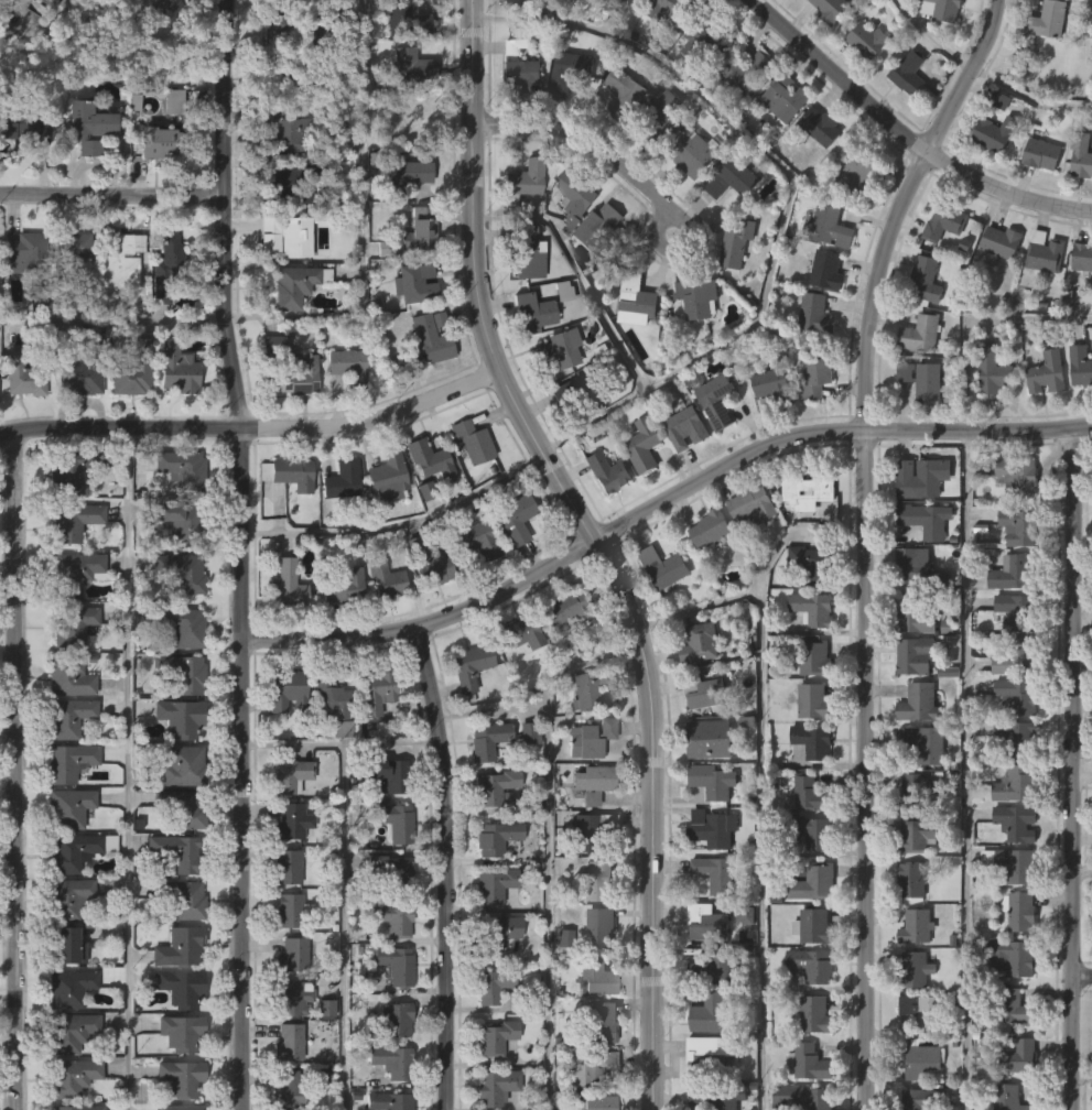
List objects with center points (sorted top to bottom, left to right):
building: (753, 0)
building: (91, 1)
building: (66, 4)
building: (166, 8)
building: (667, 10)
building: (830, 10)
building: (941, 10)
building: (268, 15)
building: (788, 15)
building: (521, 18)
building: (403, 20)
building: (1047, 20)
building: (298, 23)
building: (573, 28)
building: (624, 28)
building: (66, 31)
building: (161, 39)
building: (867, 40)
road: (928, 41)
building: (707, 42)
building: (933, 47)
building: (661, 50)
building: (824, 50)
building: (1090, 51)
building: (408, 66)
building: (1044, 66)
building: (567, 69)
building: (745, 70)
building: (519, 72)
building: (908, 72)
building: (274, 75)
building: (295, 75)
building: (863, 87)
building: (698, 89)
building: (509, 92)
building: (621, 92)
building: (782, 96)
road: (1027, 99)
building: (175, 101)
building: (403, 109)
building: (564, 117)
building: (663, 118)
building: (905, 119)
building: (517, 120)
building: (21, 121)
building: (85, 123)
building: (818, 124)
building: (284, 127)
building: (993, 132)
road: (902, 138)
building: (619, 141)
building: (162, 142)
road: (583, 144)
building: (778, 146)
building: (695, 150)
building: (1041, 153)
building: (1080, 153)
building: (663, 160)
building: (23, 172)
building: (85, 173)
building: (732, 174)
building: (400, 175)
building: (529, 175)
building: (854, 175)
building: (988, 179)
building: (294, 183)
building: (155, 189)
road: (794, 194)
road: (112, 196)
building: (573, 196)
building: (1037, 200)
building: (691, 203)
building: (1078, 204)
building: (851, 219)
building: (401, 220)
road: (363, 221)
building: (521, 225)
building: (727, 226)
building: (949, 226)
building: (831, 227)
building: (418, 229)
building: (605, 232)
building: (284, 233)
building: (999, 242)
building: (570, 243)
building: (735, 243)
building: (22, 250)
building: (66, 252)
building: (523, 252)
road: (681, 252)
building: (1044, 253)
building: (1081, 255)
building: (119, 260)
building: (164, 262)
building: (939, 269)
building: (826, 270)
road: (576, 271)
building: (595, 271)
building: (925, 279)
building: (413, 282)
building: (295, 284)
building: (996, 287)
building: (73, 291)
building: (732, 291)
building: (39, 295)
building: (696, 296)
building: (635, 300)
building: (1041, 302)
building: (165, 303)
building: (1080, 304)
building: (118, 307)
building: (531, 311)
building: (814, 313)
road: (1081, 316)
road: (111, 318)
building: (411, 329)
building: (289, 331)
building: (920, 331)
building: (430, 336)
building: (693, 344)
building: (558, 348)
building: (633, 348)
building: (529, 357)
building: (1080, 364)
building: (346, 366)
building: (175, 367)
building: (288, 368)
building: (79, 370)
building: (22, 371)
building: (131, 371)
building: (993, 371)
building: (1047, 372)
building: (815, 376)
building: (922, 379)
building: (428, 383)
building: (771, 389)
building: (268, 390)
building: (576, 393)
building: (552, 396)
building: (713, 399)
building: (344, 412)
building: (1078, 413)
building: (129, 416)
building: (173, 416)
building: (988, 417)
building: (20, 420)
building: (1042, 420)
building: (292, 422)
building: (811, 422)
building: (684, 423)
building: (75, 425)
building: (918, 425)
road: (252, 432)
building: (769, 432)
building: (580, 438)
building: (471, 442)
building: (642, 445)
building: (712, 447)
building: (429, 458)
building: (73, 466)
building: (180, 468)
building: (605, 471)
building: (290, 472)
building: (681, 475)
building: (386, 476)
building: (1017, 476)
building: (920, 477)
building: (339, 479)
building: (468, 487)
building: (807, 489)
building: (639, 491)
building: (425, 504)
road: (658, 505)
building: (752, 509)
building: (517, 514)
building: (603, 519)
building: (925, 519)
building: (72, 520)
building: (288, 520)
building: (175, 521)
building: (383, 522)
road: (396, 522)
building: (337, 525)
building: (1018, 526)
building: (710, 527)
building: (803, 536)
building: (478, 538)
road: (863, 541)
road: (590, 546)
building: (747, 553)
road: (239, 554)
building: (428, 563)
building: (810, 563)
building: (511, 564)
building: (916, 564)
building: (662, 567)
building: (73, 572)
building: (181, 572)
building: (1013, 574)
building: (705, 575)
building: (383, 579)
building: (285, 586)
building: (474, 586)
building: (342, 587)
road: (692, 607)
building: (812, 608)
building: (565, 609)
building: (429, 611)
building: (1016, 611)
building: (659, 613)
building: (913, 616)
building: (72, 623)
building: (173, 625)
building: (382, 625)
building: (282, 631)
building: (339, 633)
building: (517, 635)
building: (698, 643)
building: (561, 653)
building: (913, 655)
building: (813, 657)
building: (1014, 657)
building: (468, 668)
building: (177, 672)
building: (66, 676)
building: (518, 679)
building: (284, 690)
building: (376, 690)
building: (590, 692)
building: (703, 692)
building: (1017, 696)
building: (328, 697)
building: (812, 701)
building: (918, 703)
road: (488, 707)
building: (1008, 707)
building: (466, 711)
building: (67, 717)
building: (177, 717)
building: (343, 728)
building: (528, 732)
building: (282, 737)
building: (372, 737)
building: (588, 738)
building: (1017, 738)
building: (486, 739)
road: (290, 740)
building: (705, 740)
building: (811, 741)
building: (928, 742)
building: (327, 746)
building: (66, 761)
building: (180, 765)
road: (126, 770)
road: (966, 770)
road: (1077, 770)
road: (14, 771)
building: (336, 773)
building: (391, 774)
building: (292, 775)
road: (1084, 777)
road: (761, 779)
building: (525, 780)
building: (712, 781)
building: (594, 782)
building: (1015, 784)
building: (493, 786)
building: (911, 792)
building: (807, 794)
building: (180, 807)
building: (66, 808)
building: (289, 821)
building: (392, 821)
building: (1015, 823)
building: (588, 829)
building: (711, 830)
building: (810, 831)
building: (916, 835)
building: (494, 837)
road: (544, 849)
building: (69, 851)
building: (180, 851)
building: (1013, 863)
building: (284, 866)
road: (443, 867)
road: (1083, 871)
building: (392, 872)
building: (715, 874)
road: (342, 878)
building: (915, 878)
building: (596, 879)
building: (812, 882)
building: (491, 885)
building: (68, 896)
building: (182, 899)
building: (289, 911)
building: (1019, 912)
building: (390, 918)
building: (705, 924)
building: (598, 926)
building: (918, 926)
building: (812, 927)
building: (494, 933)
building: (63, 945)
building: (177, 947)
building: (290, 954)
building: (1014, 956)
building: (393, 964)
building: (811, 966)
building: (715, 967)
building: (913, 970)
building: (594, 976)
road: (1083, 979)
building: (560, 982)
building: (491, 984)
building: (67, 988)
building: (182, 988)
building: (292, 997)
building: (1012, 1008)
building: (927, 1010)
building: (707, 1014)
building: (812, 1015)
building: (393, 1018)
building: (598, 1020)
building: (180, 1032)
building: (69, 1033)
building: (495, 1035)
building: (286, 1041)
building: (322, 1053)
building: (709, 1056)
building: (1017, 1056)
building: (390, 1059)
building: (920, 1062)
building: (807, 1064)
building: (588, 1067)
road: (1083, 1075)
building: (69, 1076)
building: (179, 1076)
building: (495, 1085)
building: (284, 1086)
building: (715, 1095)
building: (801, 1098)
building: (1006, 1098)
building: (920, 1099)
building: (387, 1100)
building: (597, 1101)
building: (76, 1107)
building: (177, 1107)

